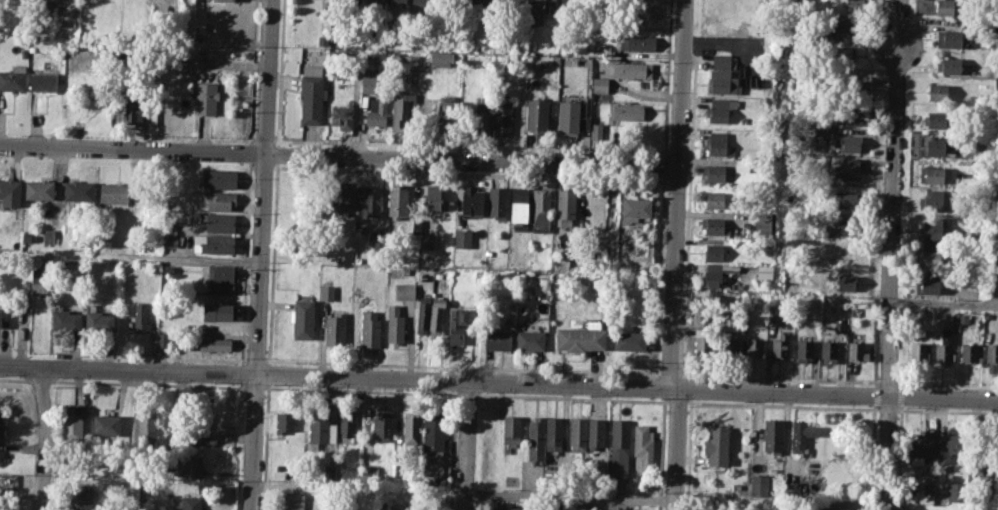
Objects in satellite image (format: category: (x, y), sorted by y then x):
building: (162, 0)
building: (223, 0)
building: (355, 0)
building: (420, 1)
building: (376, 2)
building: (398, 3)
building: (487, 3)
building: (855, 6)
building: (945, 8)
building: (537, 12)
building: (643, 13)
building: (842, 31)
building: (952, 38)
building: (637, 43)
building: (841, 53)
building: (441, 59)
building: (409, 62)
building: (950, 66)
building: (632, 69)
building: (723, 75)
building: (13, 78)
building: (371, 81)
building: (42, 82)
building: (600, 88)
building: (312, 92)
building: (938, 92)
building: (205, 97)
building: (133, 108)
building: (718, 110)
building: (625, 111)
building: (377, 112)
building: (403, 114)
building: (447, 115)
building: (342, 116)
building: (537, 116)
building: (852, 116)
building: (502, 117)
building: (481, 118)
building: (568, 118)
building: (938, 120)
building: (596, 131)
building: (823, 132)
building: (716, 143)
building: (849, 143)
building: (937, 148)
road: (338, 155)
building: (742, 165)
building: (847, 169)
building: (713, 172)
building: (932, 174)
building: (218, 178)
road: (264, 187)
building: (39, 189)
building: (78, 190)
building: (114, 191)
building: (10, 192)
building: (342, 197)
building: (435, 198)
building: (218, 199)
building: (399, 199)
building: (847, 199)
building: (714, 200)
building: (368, 201)
building: (934, 201)
building: (472, 202)
building: (497, 202)
building: (518, 204)
building: (565, 207)
building: (634, 208)
building: (540, 210)
building: (219, 221)
building: (714, 226)
building: (849, 226)
building: (934, 229)
building: (26, 236)
building: (48, 237)
building: (462, 238)
building: (170, 240)
building: (426, 240)
building: (216, 243)
building: (936, 251)
building: (713, 252)
road: (891, 254)
road: (675, 256)
building: (764, 271)
building: (222, 272)
building: (717, 272)
building: (40, 275)
building: (843, 283)
building: (926, 283)
building: (404, 291)
building: (326, 292)
road: (944, 303)
building: (219, 311)
building: (436, 315)
building: (0, 317)
building: (140, 317)
building: (422, 317)
building: (963, 317)
building: (302, 318)
building: (65, 319)
building: (98, 321)
building: (458, 322)
building: (394, 324)
building: (370, 329)
building: (334, 330)
building: (162, 338)
building: (580, 338)
building: (497, 339)
building: (529, 340)
building: (629, 340)
building: (208, 343)
building: (780, 344)
building: (704, 345)
building: (805, 346)
building: (945, 346)
building: (729, 347)
building: (754, 347)
building: (829, 349)
building: (857, 351)
building: (918, 351)
building: (968, 352)
building: (991, 356)
road: (127, 370)
road: (626, 389)
building: (284, 422)
building: (105, 425)
building: (346, 425)
building: (382, 425)
building: (72, 426)
building: (146, 426)
building: (411, 427)
building: (1, 429)
building: (511, 429)
building: (191, 430)
building: (320, 430)
building: (433, 432)
building: (553, 433)
building: (577, 433)
building: (597, 434)
building: (773, 434)
building: (800, 435)
building: (621, 437)
building: (535, 438)
road: (44, 439)
road: (253, 442)
building: (642, 444)
building: (716, 445)
road: (465, 446)
building: (919, 446)
building: (945, 448)
building: (981, 465)
building: (188, 467)
building: (329, 474)
building: (759, 484)
building: (926, 488)
building: (791, 489)
building: (956, 495)
road: (569, 496)
building: (80, 497)
building: (294, 501)
building: (190, 503)
building: (584, 506)
building: (0, 508)
building: (510, 508)
building: (817, 509)
building: (830, 509)

